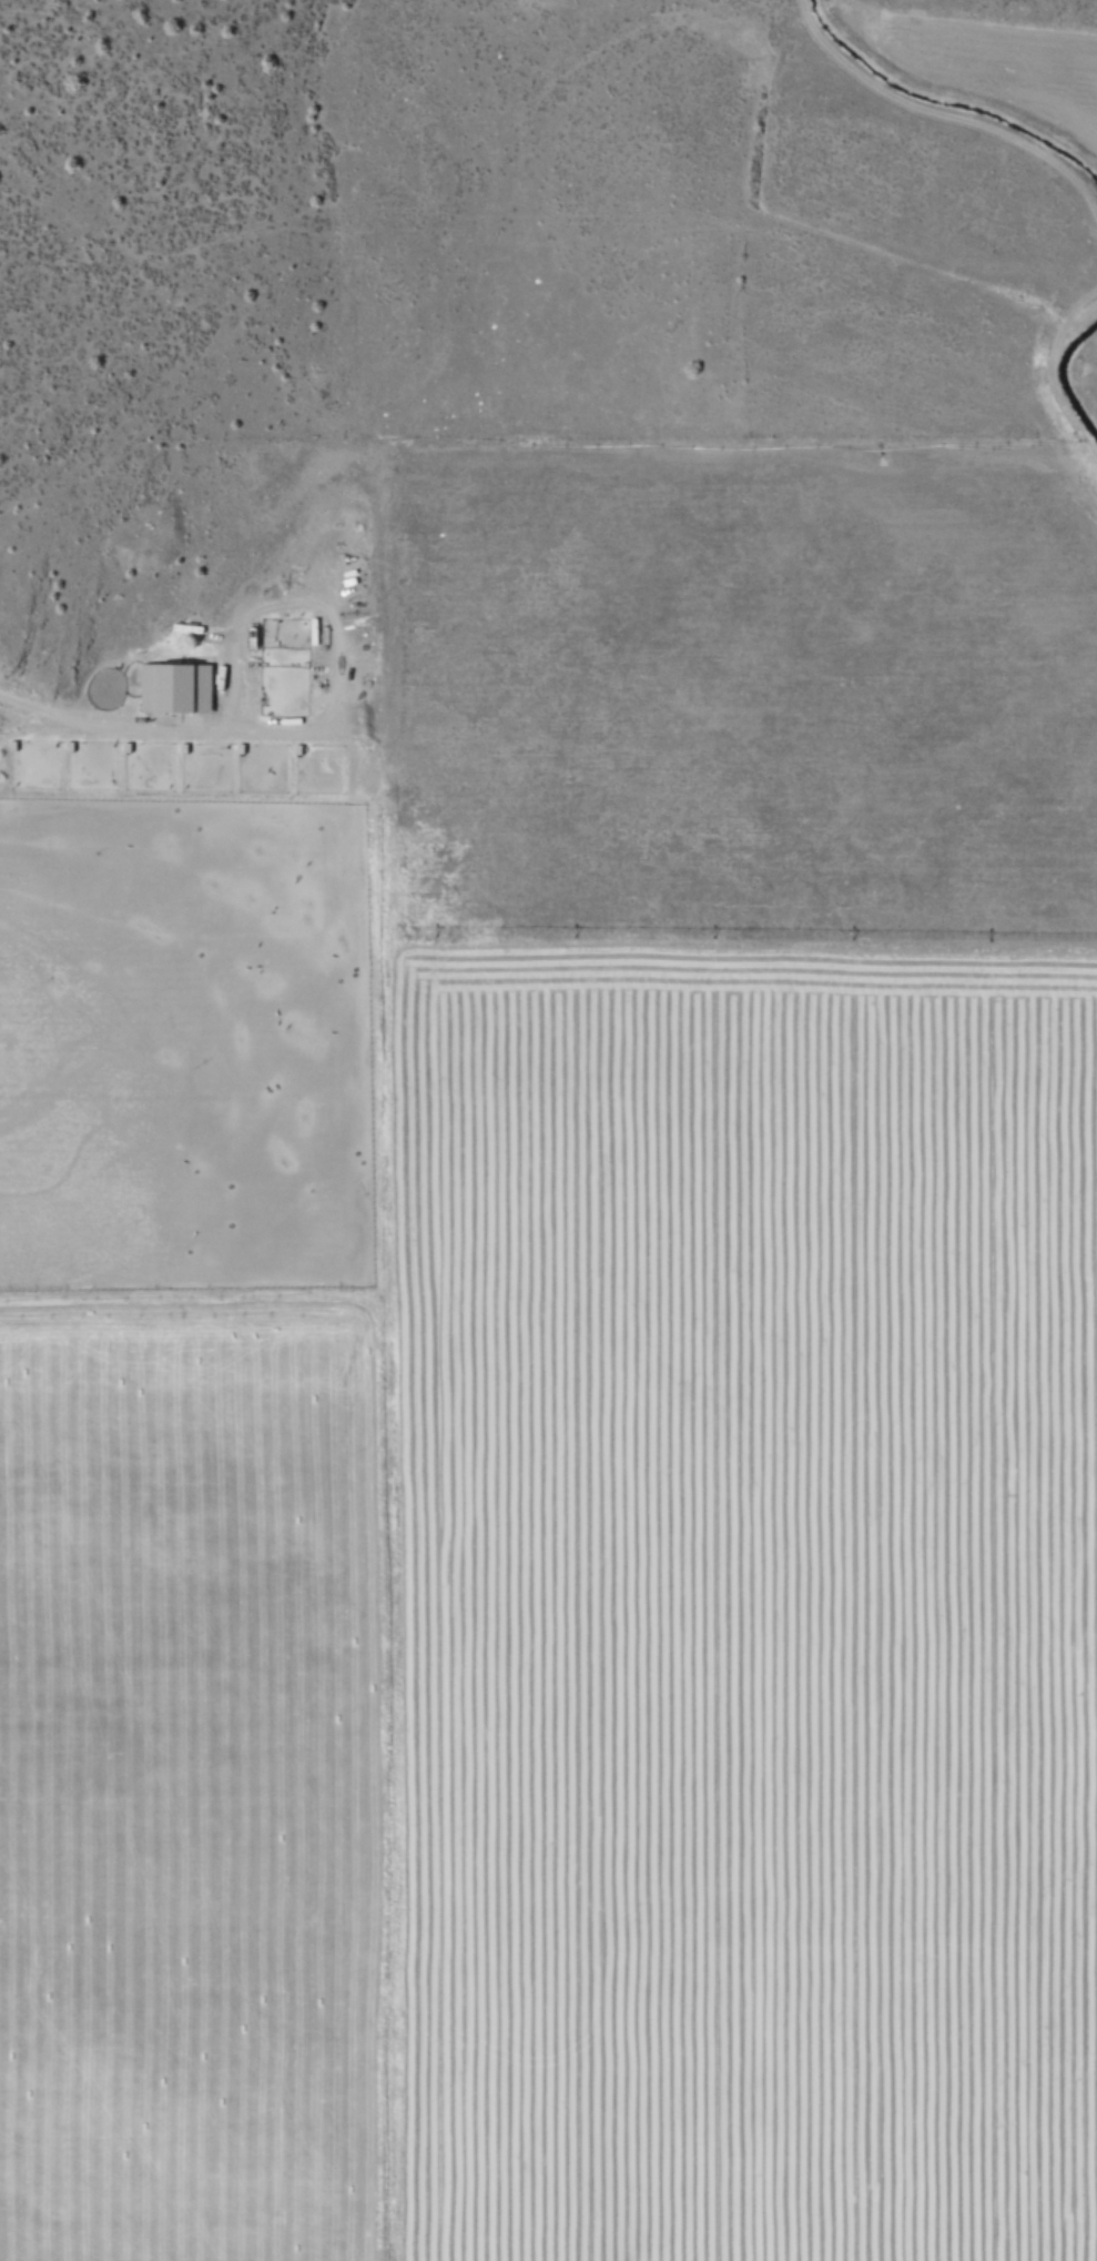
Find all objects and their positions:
road: (949, 108)
crop: (593, 1225)

